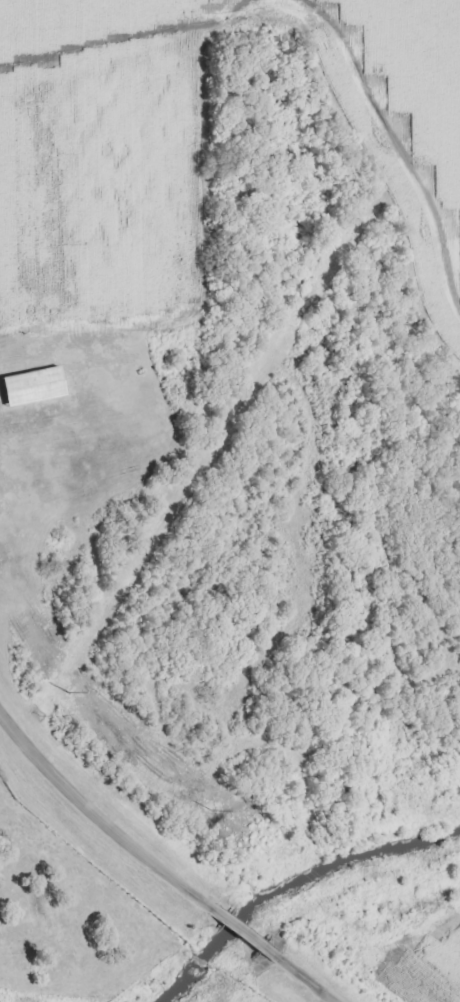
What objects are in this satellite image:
road: (99, 811)
river: (292, 885)
road: (248, 929)
road: (313, 978)

